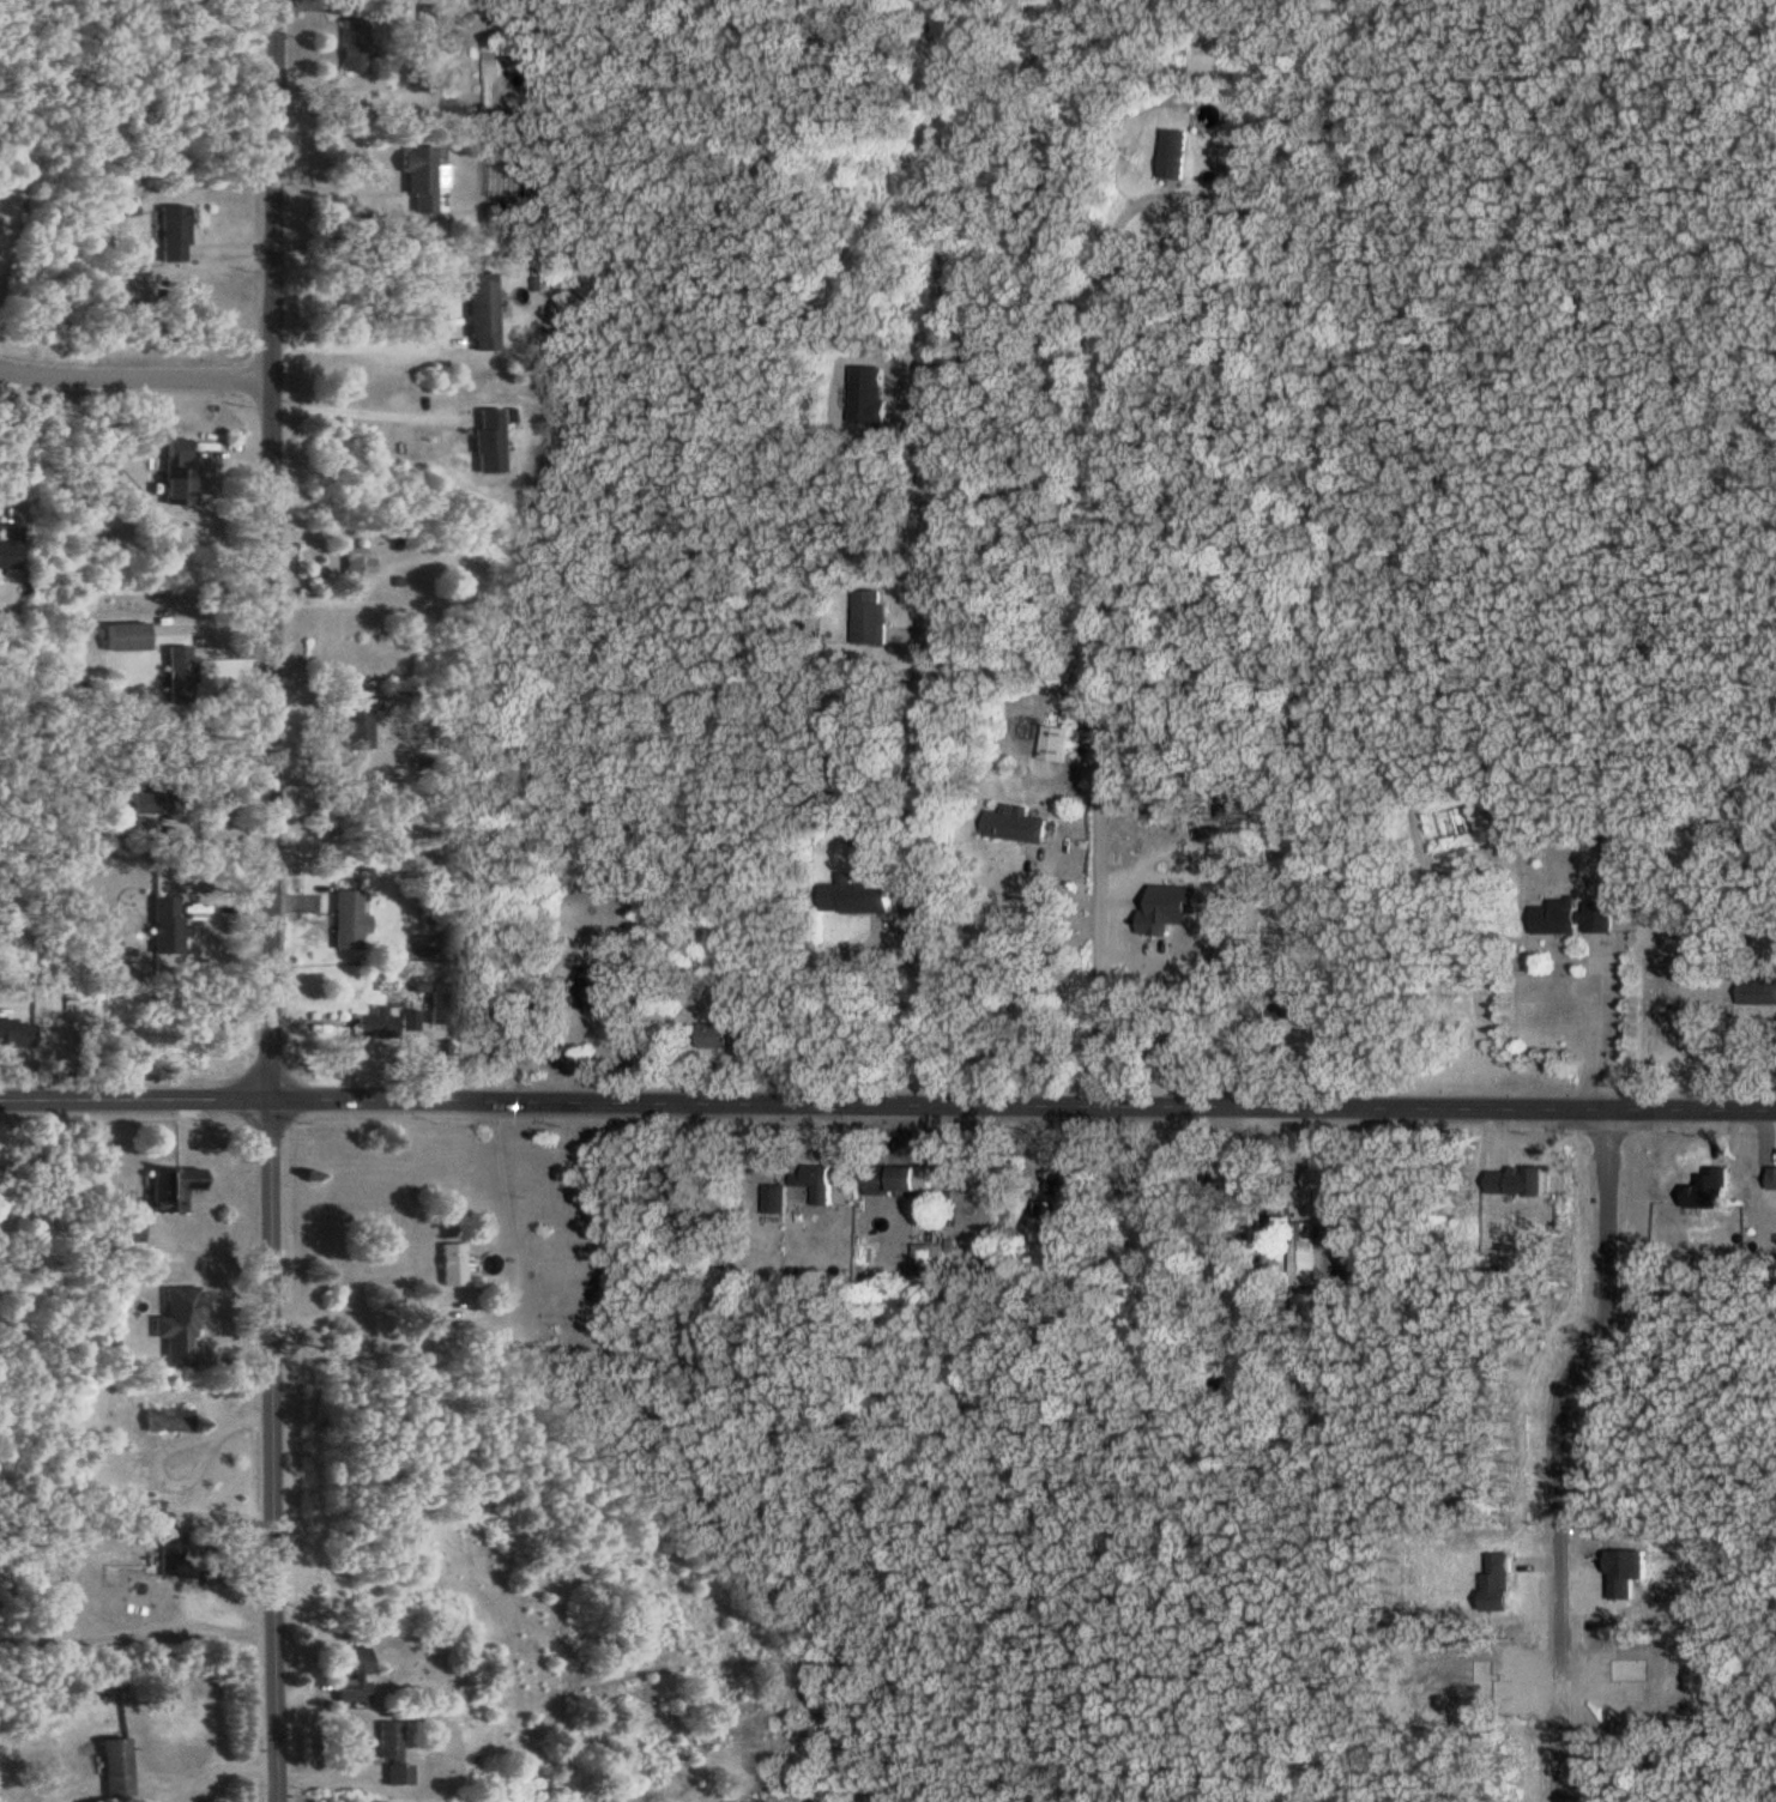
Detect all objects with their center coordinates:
building: (434, 22)
building: (355, 44)
building: (494, 55)
building: (1178, 151)
road: (326, 177)
building: (421, 179)
building: (509, 217)
building: (174, 234)
building: (482, 306)
road: (358, 339)
road: (129, 380)
building: (872, 392)
road: (362, 407)
building: (489, 440)
road: (8, 443)
building: (180, 472)
building: (10, 545)
road: (261, 546)
building: (357, 561)
building: (875, 616)
building: (127, 636)
road: (938, 651)
road: (1100, 652)
building: (181, 673)
building: (358, 716)
building: (1059, 742)
building: (150, 811)
building: (1020, 823)
building: (1740, 841)
building: (860, 895)
building: (1577, 915)
building: (346, 919)
building: (165, 925)
road: (828, 974)
road: (1022, 975)
building: (596, 986)
building: (634, 994)
building: (443, 1003)
building: (1294, 1004)
road: (1178, 1010)
building: (376, 1023)
building: (503, 1023)
road: (1603, 1023)
building: (730, 1032)
road: (888, 1100)
building: (895, 1177)
building: (1073, 1178)
building: (818, 1179)
building: (1232, 1179)
building: (173, 1186)
building: (1328, 1186)
building: (779, 1197)
building: (1305, 1246)
building: (453, 1263)
road: (487, 1304)
building: (180, 1323)
building: (168, 1419)
road: (1564, 1447)
road: (267, 1449)
building: (170, 1553)
road: (134, 1635)
building: (352, 1675)
building: (392, 1753)
building: (116, 1767)
road: (215, 1767)

